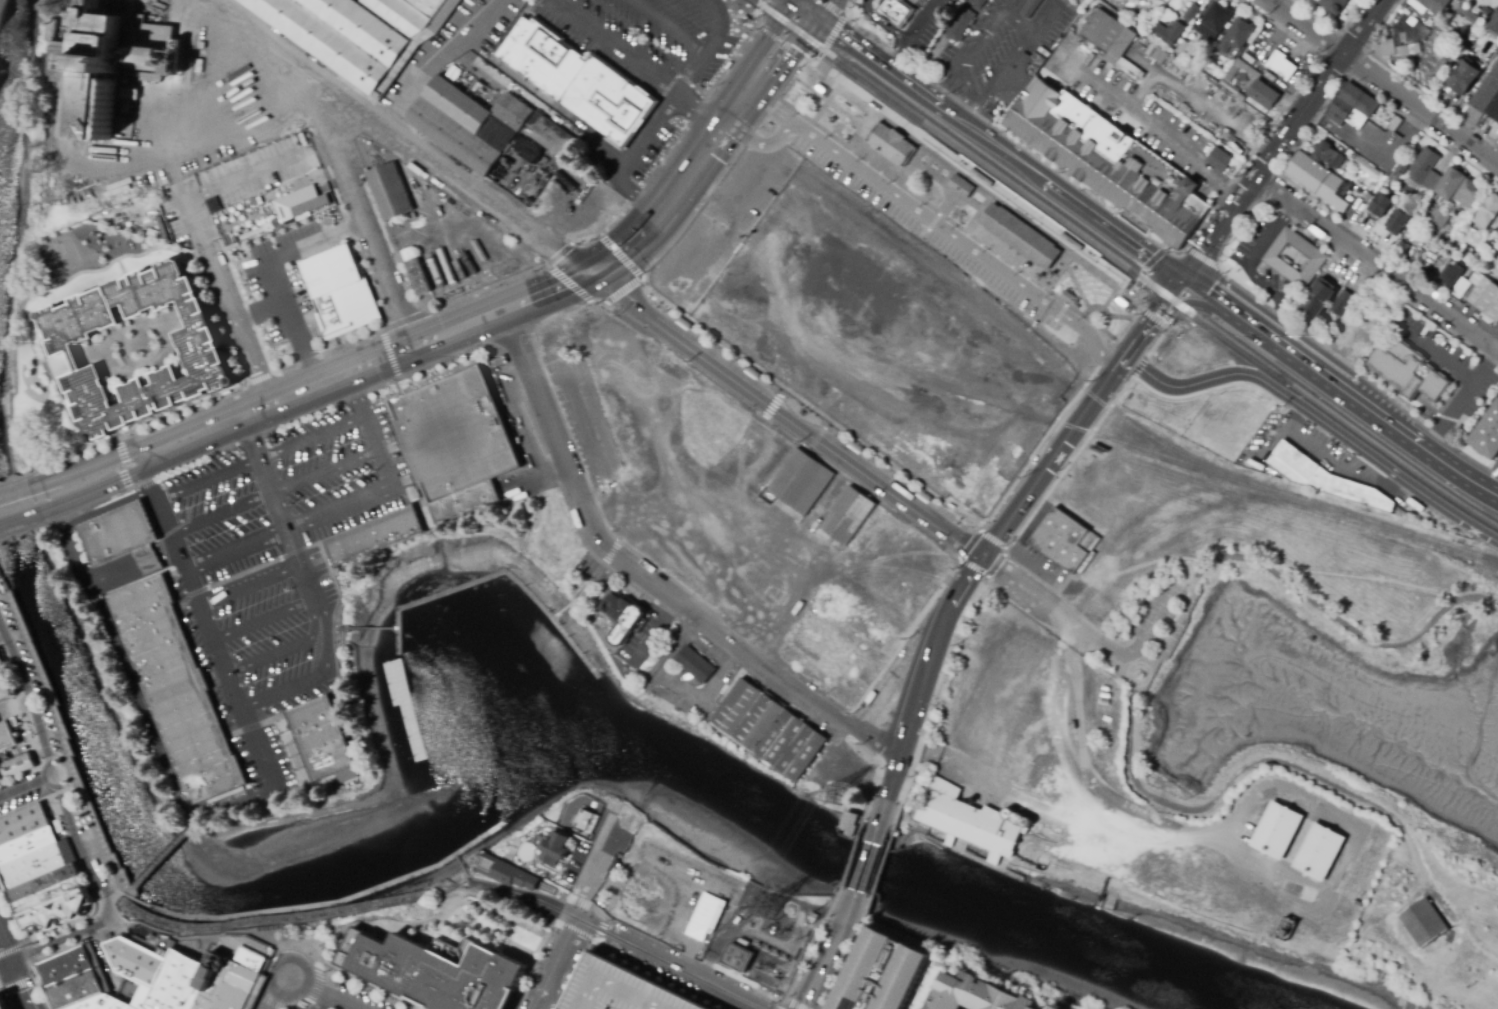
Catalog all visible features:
road: (787, 1)
road: (791, 1)
traffic signals: (790, 3)
building: (975, 5)
building: (1334, 5)
road: (758, 6)
building: (894, 6)
building: (1437, 6)
building: (1119, 7)
building: (1031, 8)
road: (822, 10)
road: (802, 12)
building: (1193, 14)
building: (1468, 14)
road: (739, 15)
road: (1012, 16)
road: (71, 19)
traffic signals: (815, 21)
building: (1215, 21)
road: (924, 22)
building: (1493, 22)
road: (1334, 23)
road: (722, 25)
road: (836, 25)
road: (880, 26)
building: (960, 26)
road: (667, 27)
building: (51, 30)
building: (358, 32)
building: (1169, 32)
railway: (803, 33)
building: (1407, 34)
river: (3, 35)
building: (1238, 35)
road: (766, 36)
building: (1108, 38)
road: (779, 40)
building: (1386, 44)
road: (614, 46)
road: (852, 47)
building: (1184, 49)
road: (791, 54)
road: (733, 55)
road: (435, 58)
road: (900, 59)
road: (67, 60)
parking lot: (654, 62)
building: (199, 66)
building: (1281, 66)
road: (690, 74)
building: (578, 77)
road: (1091, 77)
building: (1463, 78)
building: (105, 81)
road: (1382, 81)
building: (1259, 87)
building: (1486, 92)
road: (973, 96)
road: (740, 98)
road: (826, 100)
road: (825, 103)
building: (1352, 107)
road: (696, 110)
road: (697, 110)
building: (1494, 111)
building: (471, 123)
building: (1395, 124)
road: (857, 133)
road: (399, 134)
building: (548, 134)
road: (646, 136)
road: (929, 141)
road: (1282, 141)
road: (1174, 144)
building: (894, 145)
building: (1327, 155)
road: (164, 160)
building: (1222, 160)
building: (1101, 161)
building: (1402, 165)
road: (912, 166)
building: (1363, 166)
building: (1425, 170)
road: (1036, 177)
road: (972, 181)
building: (1322, 183)
building: (959, 185)
road: (1268, 188)
building: (1459, 189)
road: (945, 190)
building: (391, 191)
road: (637, 194)
road: (270, 198)
building: (309, 203)
road: (665, 203)
railway: (1018, 204)
road: (944, 205)
building: (1381, 206)
building: (1487, 212)
road: (977, 213)
road: (363, 215)
road: (924, 216)
railway: (1060, 217)
road: (946, 218)
building: (1439, 218)
railway: (1059, 219)
building: (1399, 223)
building: (131, 226)
road: (929, 227)
road: (1139, 231)
building: (1497, 231)
building: (153, 232)
parking lot: (938, 234)
building: (1023, 238)
building: (1491, 242)
building: (1485, 248)
building: (1471, 254)
road: (620, 256)
road: (1221, 258)
building: (1295, 258)
road: (1202, 259)
road: (1377, 265)
road: (1144, 266)
road: (1107, 267)
road: (1056, 269)
building: (419, 271)
road: (555, 273)
building: (1451, 276)
road: (276, 277)
traffic signals: (1183, 282)
road: (1076, 285)
building: (1460, 288)
building: (338, 289)
road: (548, 289)
road: (621, 290)
road: (1172, 294)
building: (1484, 296)
road: (1109, 298)
building: (1071, 299)
building: (1123, 300)
building: (1317, 300)
building: (1342, 303)
road: (1183, 306)
road: (1101, 308)
road: (1158, 313)
road: (262, 314)
road: (1058, 315)
road: (1119, 317)
road: (1153, 317)
road: (1139, 337)
road: (242, 338)
road: (1156, 341)
building: (203, 343)
road: (677, 356)
road: (1121, 362)
road: (1138, 365)
building: (1408, 375)
road: (322, 383)
road: (1339, 390)
road: (771, 405)
road: (785, 413)
road: (809, 413)
road: (1317, 420)
building: (456, 433)
building: (1488, 433)
railway: (1383, 447)
road: (260, 458)
road: (1048, 461)
road: (126, 463)
road: (1068, 463)
road: (86, 467)
road: (263, 474)
building: (802, 479)
building: (1325, 479)
road: (149, 480)
road: (94, 491)
road: (274, 491)
road: (14, 492)
building: (466, 502)
road: (345, 505)
building: (849, 514)
road: (19, 519)
building: (119, 532)
building: (376, 537)
building: (1065, 540)
building: (145, 552)
parking lot: (277, 562)
building: (152, 564)
road: (301, 568)
pier: (496, 575)
road: (986, 576)
road: (645, 577)
road: (1297, 581)
road: (250, 585)
park: (591, 586)
road: (798, 603)
road: (1055, 610)
parking lot: (1162, 611)
road: (263, 618)
building: (623, 618)
road: (362, 628)
road: (656, 629)
road: (1152, 630)
road: (216, 644)
road: (283, 650)
road: (933, 652)
building: (1, 662)
building: (695, 665)
road: (313, 676)
building: (5, 682)
building: (177, 688)
road: (28, 701)
building: (1073, 725)
building: (6, 729)
building: (771, 730)
building: (323, 740)
river: (521, 752)
building: (16, 761)
road: (894, 778)
road: (1322, 779)
road: (28, 786)
road: (1100, 791)
power tower: (839, 797)
road: (241, 801)
building: (24, 816)
road: (197, 818)
building: (589, 822)
building: (973, 822)
building: (850, 823)
building: (1279, 831)
building: (28, 842)
building: (558, 848)
building: (1323, 848)
road: (80, 849)
road: (159, 856)
road: (591, 857)
road: (866, 861)
building: (35, 863)
building: (511, 875)
building: (47, 880)
park: (1437, 880)
road: (118, 893)
road: (526, 898)
road: (582, 905)
building: (60, 907)
power tower: (773, 910)
building: (704, 916)
road: (578, 920)
building: (1421, 921)
road: (589, 922)
road: (601, 922)
road: (554, 931)
road: (582, 934)
power substation: (761, 934)
road: (336, 935)
road: (63, 943)
road: (25, 946)
road: (12, 949)
building: (245, 951)
road: (687, 954)
road: (312, 957)
building: (737, 957)
road: (618, 960)
building: (135, 961)
road: (824, 965)
traffic signals: (12, 967)
road: (679, 967)
road: (6, 969)
road: (13, 970)
building: (883, 973)
building: (436, 974)
road: (531, 974)
building: (69, 978)
building: (176, 982)
road: (17, 983)
building: (224, 984)
road: (317, 984)
building: (621, 990)
road: (280, 992)
road: (323, 992)
building: (979, 994)
building: (142, 998)
road: (5, 999)
road: (305, 1000)
building: (96, 1002)
road: (271, 1002)
road: (787, 1003)
building: (1, 1005)
building: (121, 1005)
parking lot: (301, 1007)

